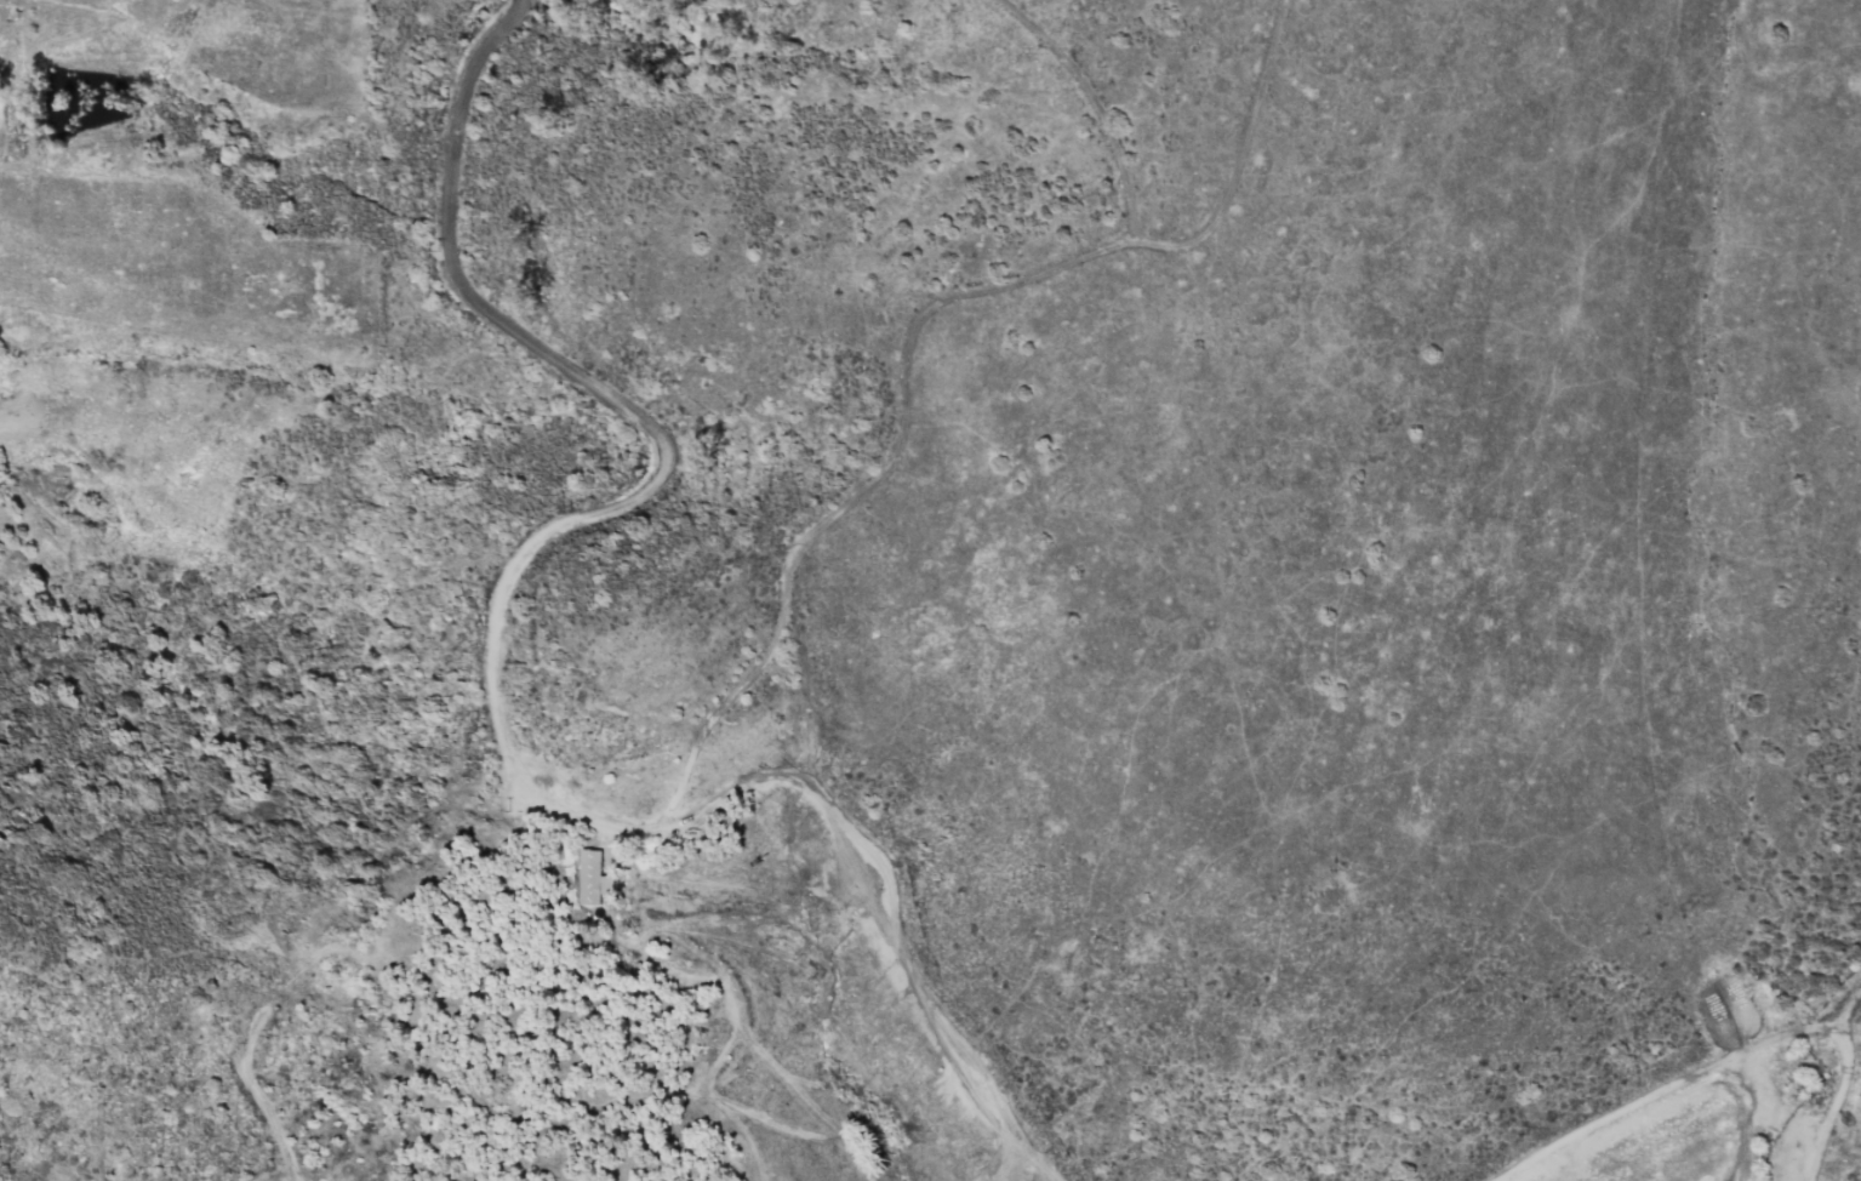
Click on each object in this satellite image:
road: (904, 398)
road: (621, 405)
building: (590, 877)
road: (889, 891)
road: (1843, 1006)
road: (1728, 1052)
road: (1017, 1158)

